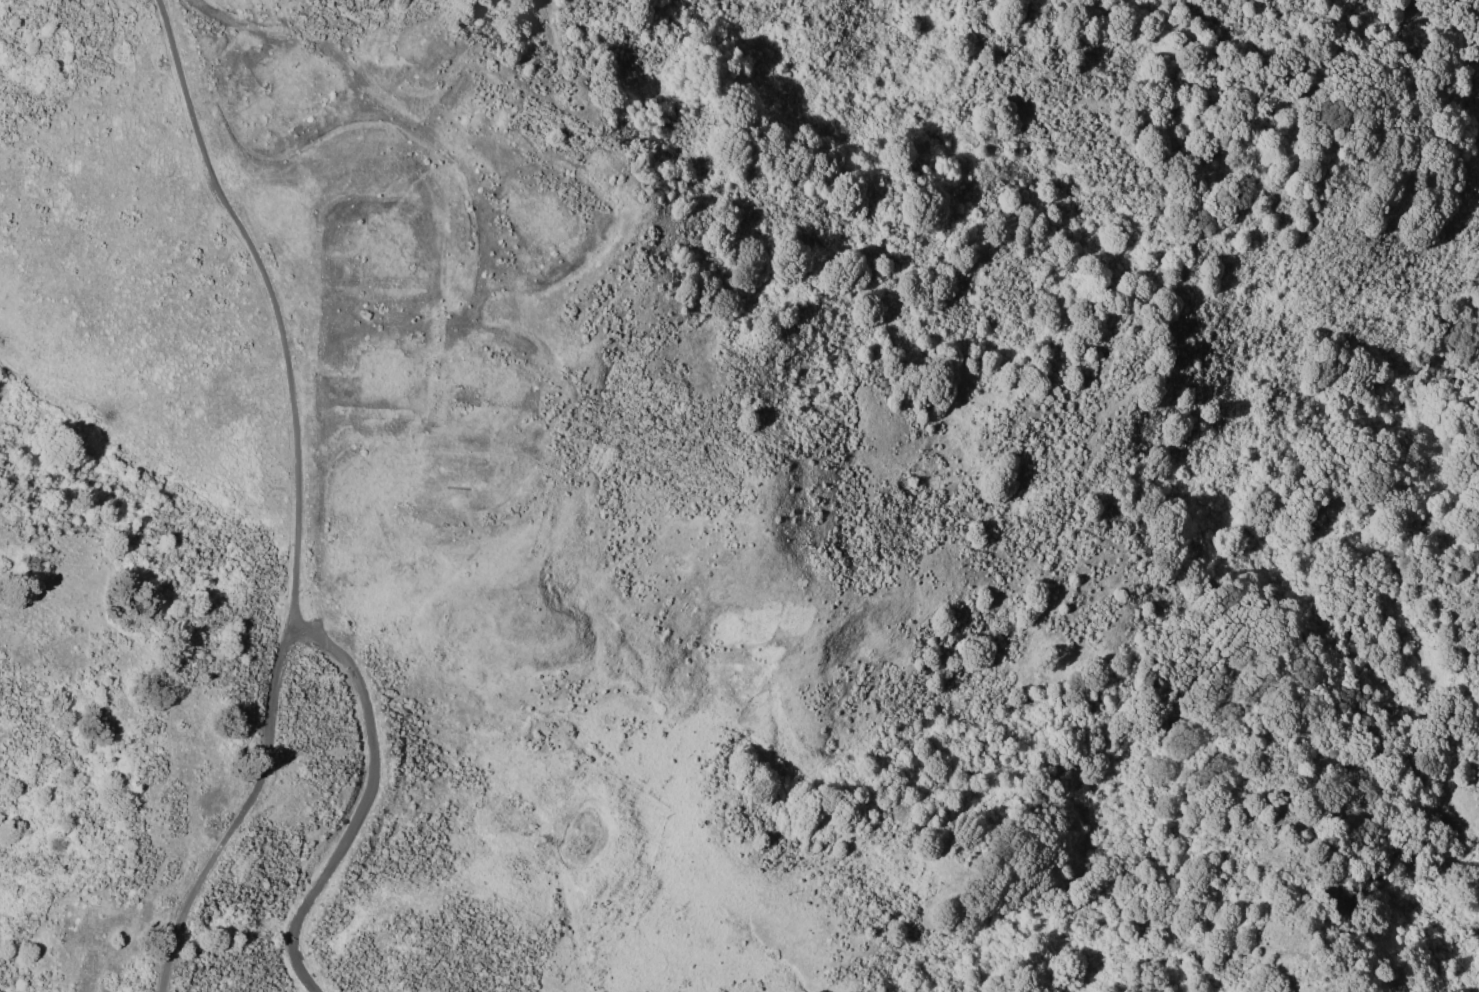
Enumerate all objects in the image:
road: (274, 304)
road: (367, 807)
road: (245, 814)

